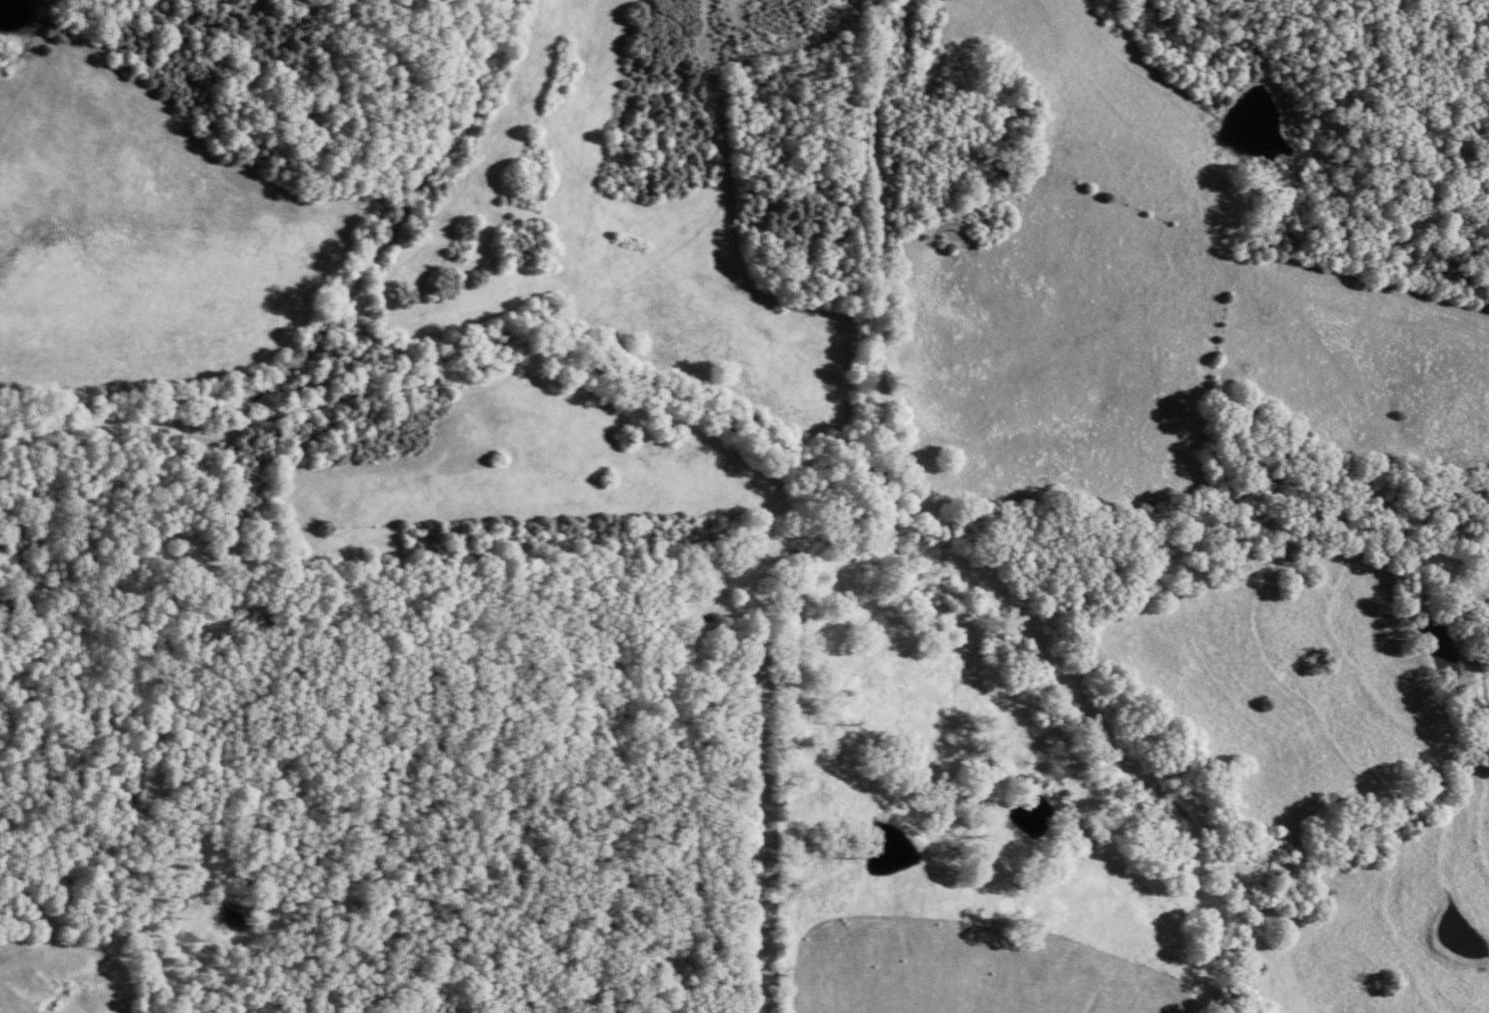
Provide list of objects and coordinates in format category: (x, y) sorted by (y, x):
road: (887, 327)
road: (764, 774)

